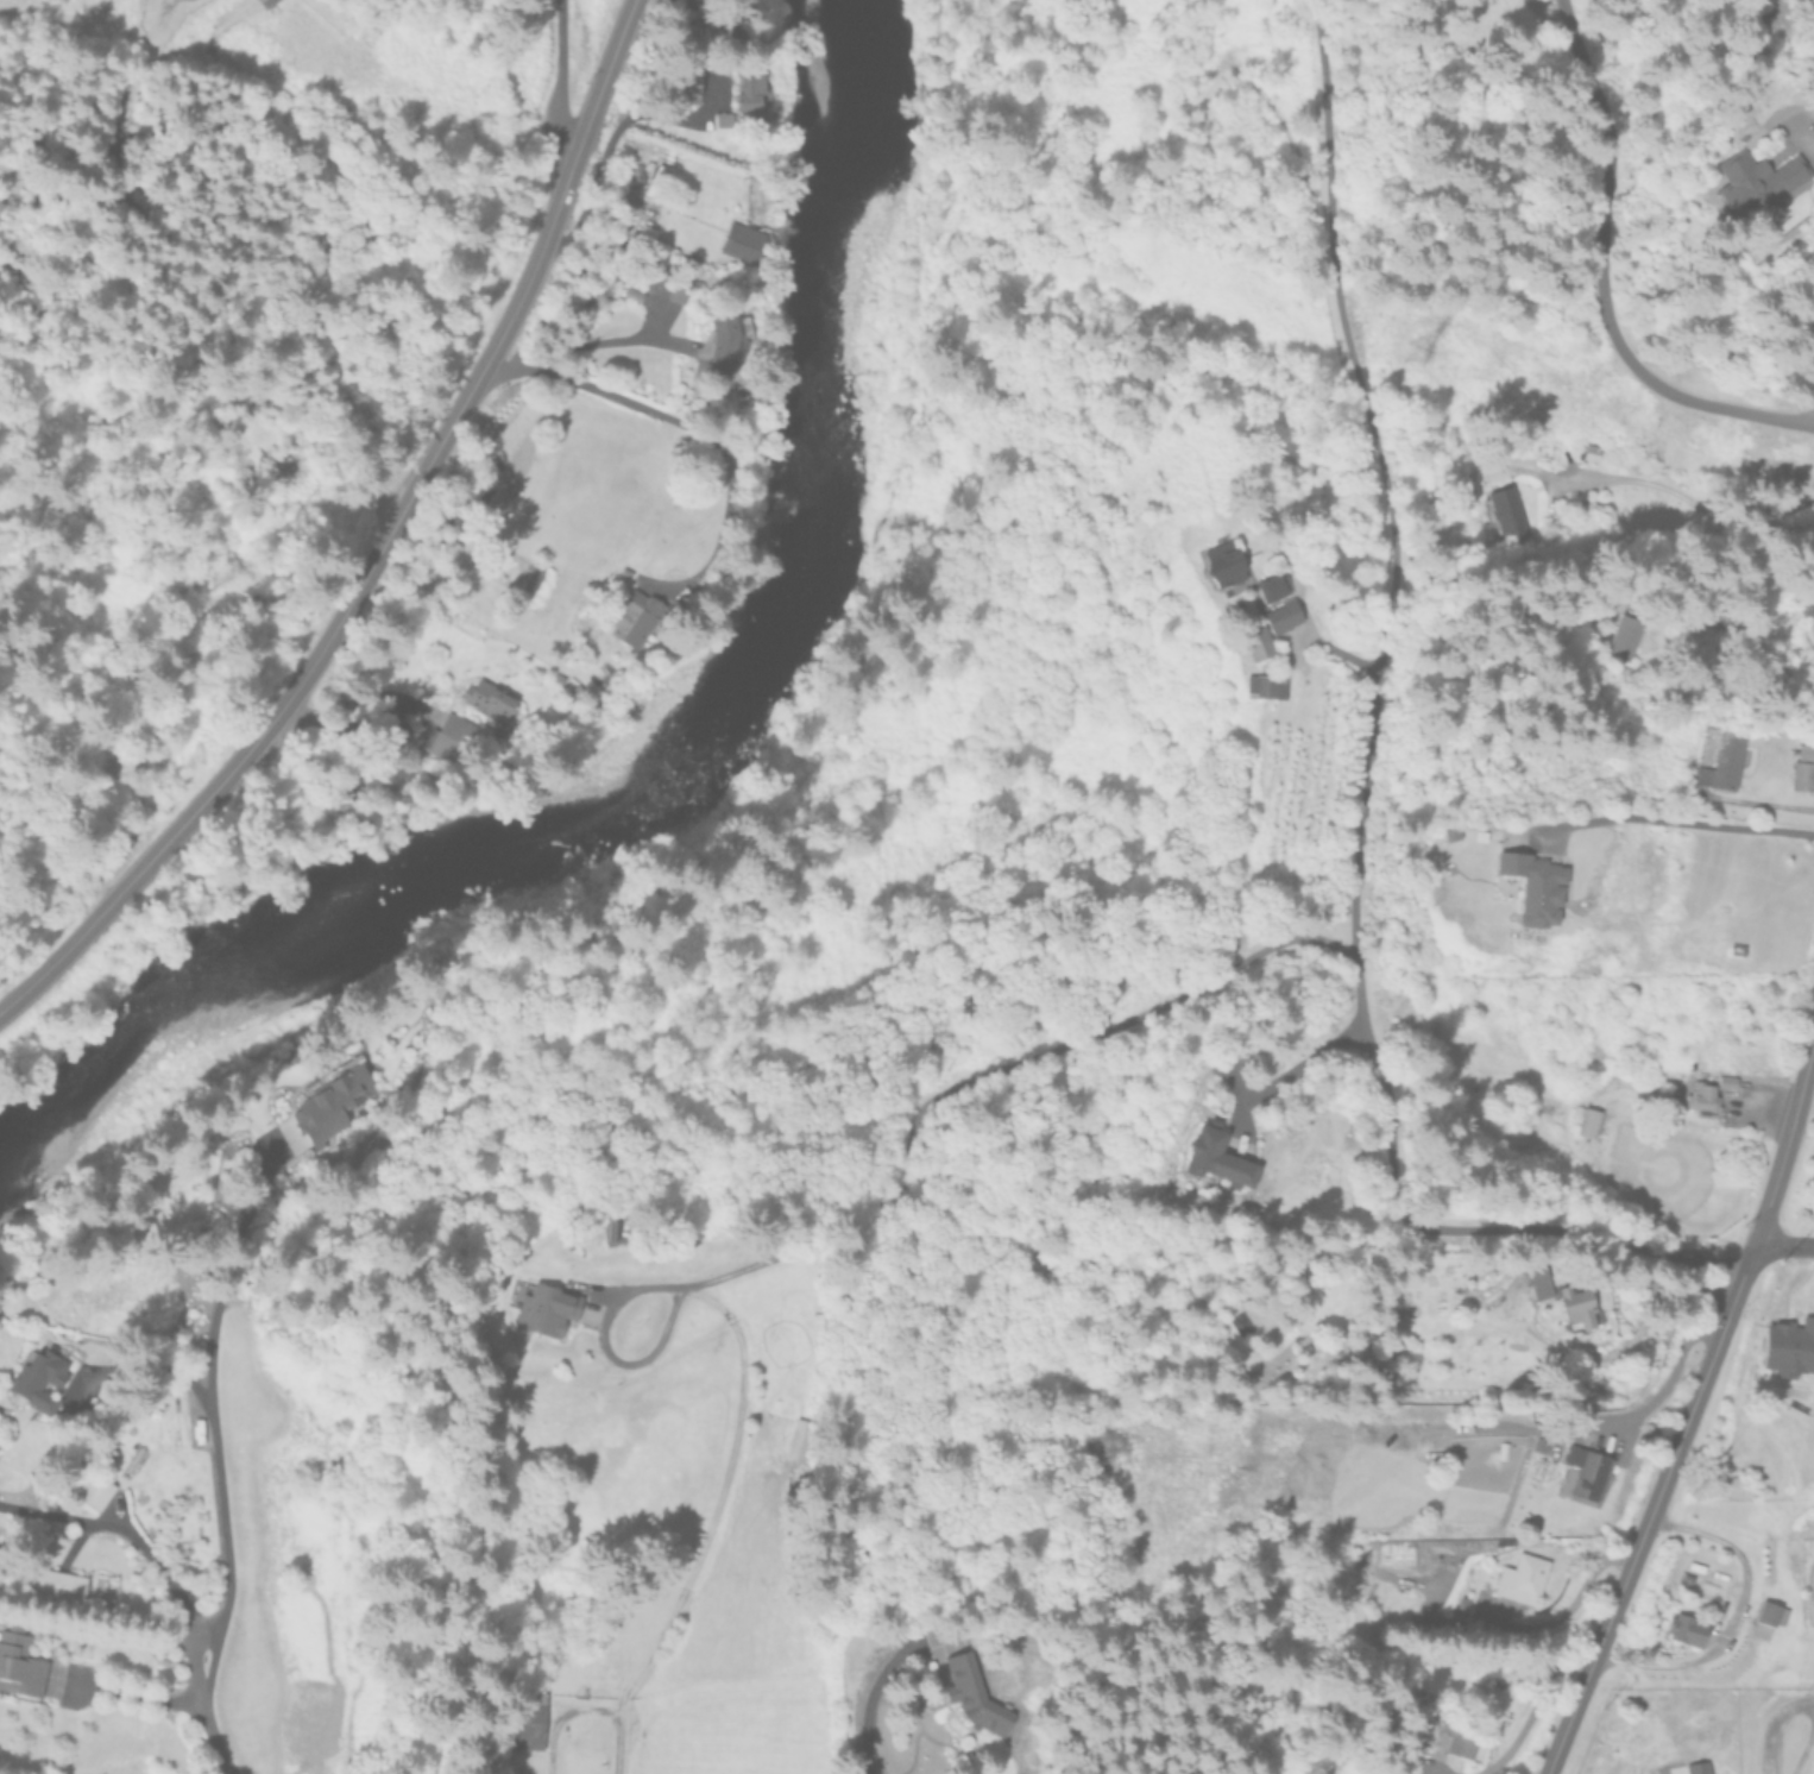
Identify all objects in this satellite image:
building: (264, 2)
power tower: (50, 4)
road: (559, 76)
building: (687, 86)
building: (750, 94)
building: (1753, 181)
building: (743, 241)
road: (1596, 281)
building: (666, 287)
road: (598, 341)
building: (723, 344)
power tower: (1418, 363)
road: (714, 440)
road: (1690, 499)
building: (1505, 514)
road: (379, 546)
building: (1218, 560)
building: (1271, 586)
road: (1385, 615)
building: (1281, 616)
building: (632, 618)
building: (1623, 636)
building: (1256, 643)
road: (1337, 652)
building: (1265, 686)
building: (485, 699)
building: (447, 735)
building: (1721, 761)
river: (699, 772)
building: (1802, 775)
road: (1676, 820)
building: (1533, 886)
road: (1289, 1069)
building: (1725, 1082)
building: (1701, 1096)
building: (329, 1103)
building: (1583, 1120)
road: (1785, 1138)
building: (1216, 1156)
road: (906, 1178)
road: (1576, 1237)
road: (1783, 1245)
building: (1536, 1283)
building: (541, 1306)
building: (1579, 1310)
building: (1788, 1347)
building: (36, 1374)
road: (213, 1433)
building: (132, 1457)
building: (1585, 1472)
building: (92, 1486)
road: (1651, 1508)
road: (119, 1539)
building: (1386, 1548)
building: (1813, 1566)
building: (1520, 1579)
building: (53, 1581)
road: (1576, 1594)
building: (1, 1616)
road: (1734, 1616)
building: (1768, 1616)
building: (1684, 1627)
building: (19, 1660)
building: (972, 1693)
road: (871, 1698)
road: (1796, 1703)
road: (1531, 1706)
road: (199, 1709)
building: (519, 1719)
building: (1461, 1735)

